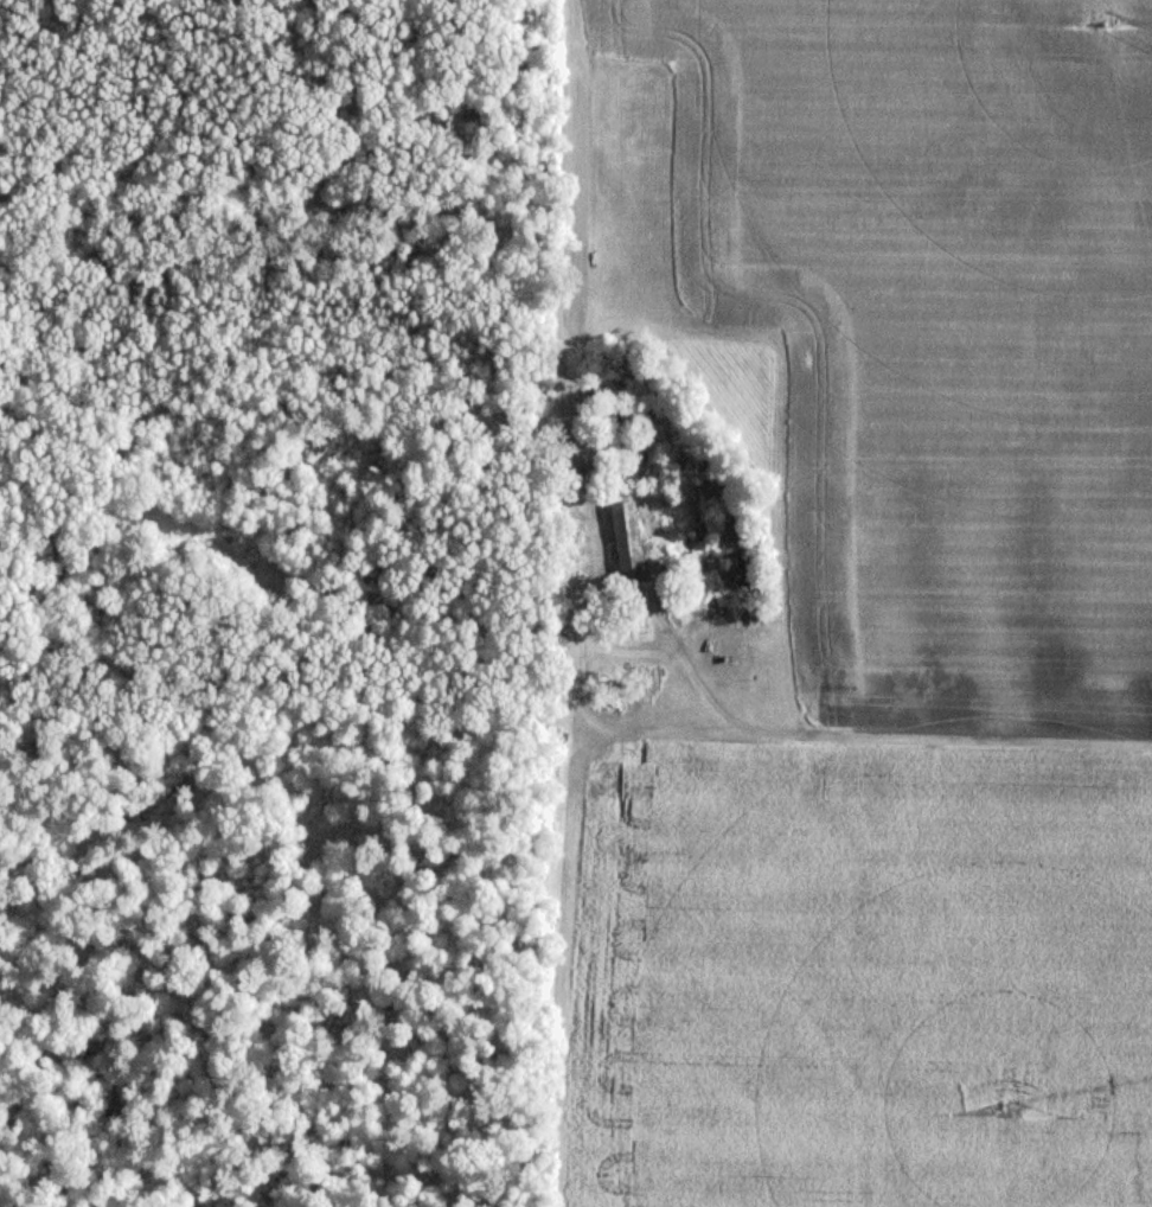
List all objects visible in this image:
road: (561, 14)
building: (631, 544)
road: (860, 734)

